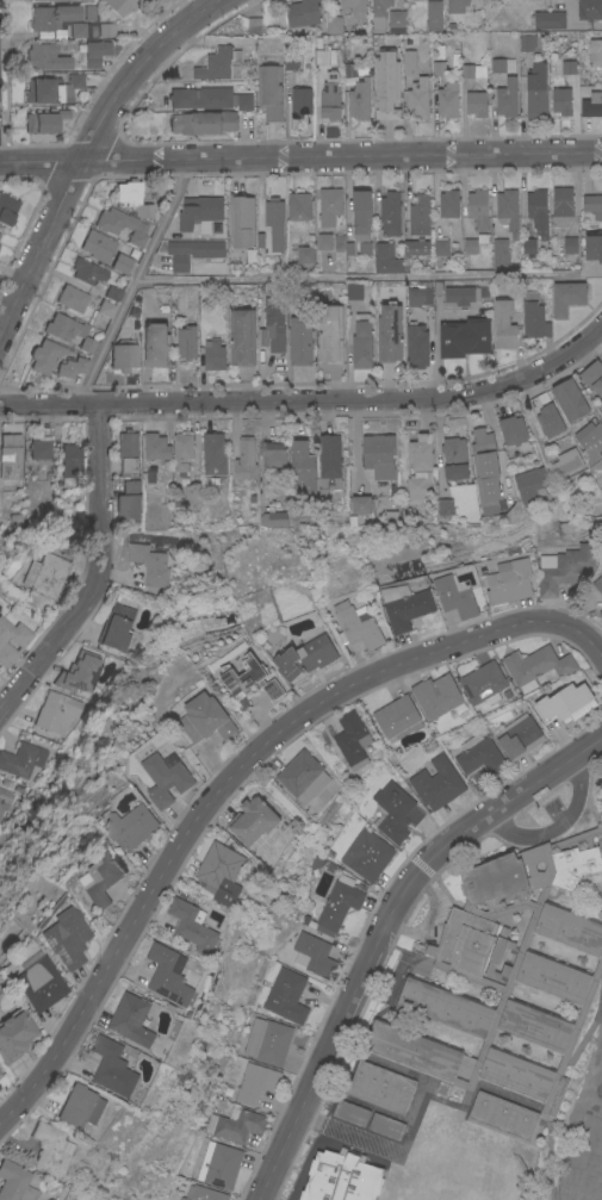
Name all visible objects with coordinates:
building: (119, 5)
building: (455, 6)
building: (353, 7)
building: (589, 8)
building: (302, 12)
building: (88, 13)
building: (379, 13)
building: (433, 14)
building: (51, 15)
building: (333, 17)
building: (550, 19)
building: (397, 20)
building: (254, 24)
building: (106, 29)
building: (76, 30)
building: (530, 42)
building: (595, 50)
building: (94, 51)
building: (325, 55)
building: (45, 56)
building: (291, 60)
building: (408, 61)
building: (221, 64)
building: (502, 66)
building: (437, 67)
building: (567, 67)
building: (349, 69)
building: (466, 73)
building: (74, 81)
building: (386, 85)
building: (42, 89)
building: (269, 91)
building: (535, 91)
building: (200, 97)
building: (330, 97)
building: (507, 97)
building: (417, 98)
building: (359, 99)
building: (447, 99)
building: (561, 100)
building: (244, 101)
building: (300, 101)
building: (476, 102)
building: (591, 104)
building: (44, 120)
building: (203, 122)
road: (86, 144)
road: (300, 157)
building: (132, 197)
building: (448, 203)
building: (298, 205)
building: (561, 205)
building: (592, 205)
building: (329, 206)
building: (6, 209)
building: (478, 209)
building: (538, 211)
building: (200, 212)
building: (508, 212)
building: (390, 213)
building: (420, 214)
building: (241, 219)
building: (274, 220)
building: (360, 223)
building: (120, 224)
building: (324, 241)
building: (473, 243)
building: (97, 244)
building: (528, 244)
building: (569, 244)
building: (416, 245)
building: (441, 247)
building: (594, 247)
building: (190, 251)
building: (305, 254)
building: (499, 254)
building: (386, 259)
building: (120, 262)
building: (87, 271)
road: (368, 276)
road: (134, 281)
building: (353, 288)
building: (113, 293)
building: (460, 294)
building: (418, 296)
building: (566, 297)
building: (72, 298)
building: (105, 307)
building: (534, 316)
building: (503, 323)
building: (273, 324)
building: (63, 327)
building: (389, 331)
building: (330, 334)
building: (242, 335)
building: (464, 336)
building: (300, 340)
building: (361, 341)
building: (186, 342)
building: (87, 343)
building: (155, 343)
building: (416, 346)
building: (213, 354)
building: (44, 355)
building: (123, 356)
building: (72, 366)
building: (592, 377)
building: (570, 399)
road: (311, 402)
building: (547, 417)
building: (513, 429)
building: (590, 437)
building: (155, 446)
building: (39, 447)
building: (128, 450)
building: (182, 450)
building: (377, 450)
building: (213, 453)
building: (421, 453)
building: (10, 454)
building: (273, 454)
building: (454, 456)
building: (244, 459)
building: (329, 460)
building: (567, 462)
building: (69, 465)
building: (302, 465)
building: (484, 466)
building: (530, 484)
building: (418, 485)
building: (192, 496)
building: (128, 500)
building: (361, 504)
building: (445, 506)
building: (273, 518)
building: (149, 564)
building: (565, 567)
building: (44, 574)
road: (98, 577)
building: (509, 583)
building: (597, 583)
building: (455, 597)
building: (405, 605)
building: (601, 613)
building: (356, 626)
building: (117, 627)
building: (11, 640)
building: (305, 657)
building: (536, 665)
building: (77, 672)
building: (250, 678)
building: (483, 683)
building: (437, 695)
building: (565, 702)
building: (56, 711)
building: (397, 717)
building: (205, 719)
building: (519, 735)
building: (352, 739)
building: (479, 754)
building: (21, 758)
road: (237, 767)
building: (302, 773)
building: (166, 776)
building: (436, 783)
building: (1, 794)
building: (395, 812)
building: (253, 820)
road: (556, 822)
building: (131, 826)
building: (368, 854)
building: (222, 872)
building: (98, 876)
building: (339, 903)
building: (192, 924)
road: (383, 927)
building: (63, 938)
building: (316, 953)
building: (498, 955)
building: (546, 972)
building: (169, 974)
building: (36, 983)
building: (286, 995)
building: (132, 1020)
building: (12, 1033)
building: (267, 1040)
building: (113, 1065)
building: (0, 1081)
building: (256, 1082)
building: (380, 1086)
building: (80, 1106)
building: (350, 1113)
building: (503, 1114)
building: (236, 1124)
building: (384, 1126)
building: (48, 1149)
building: (219, 1164)
building: (345, 1170)
building: (13, 1182)
building: (331, 1192)
building: (203, 1193)

